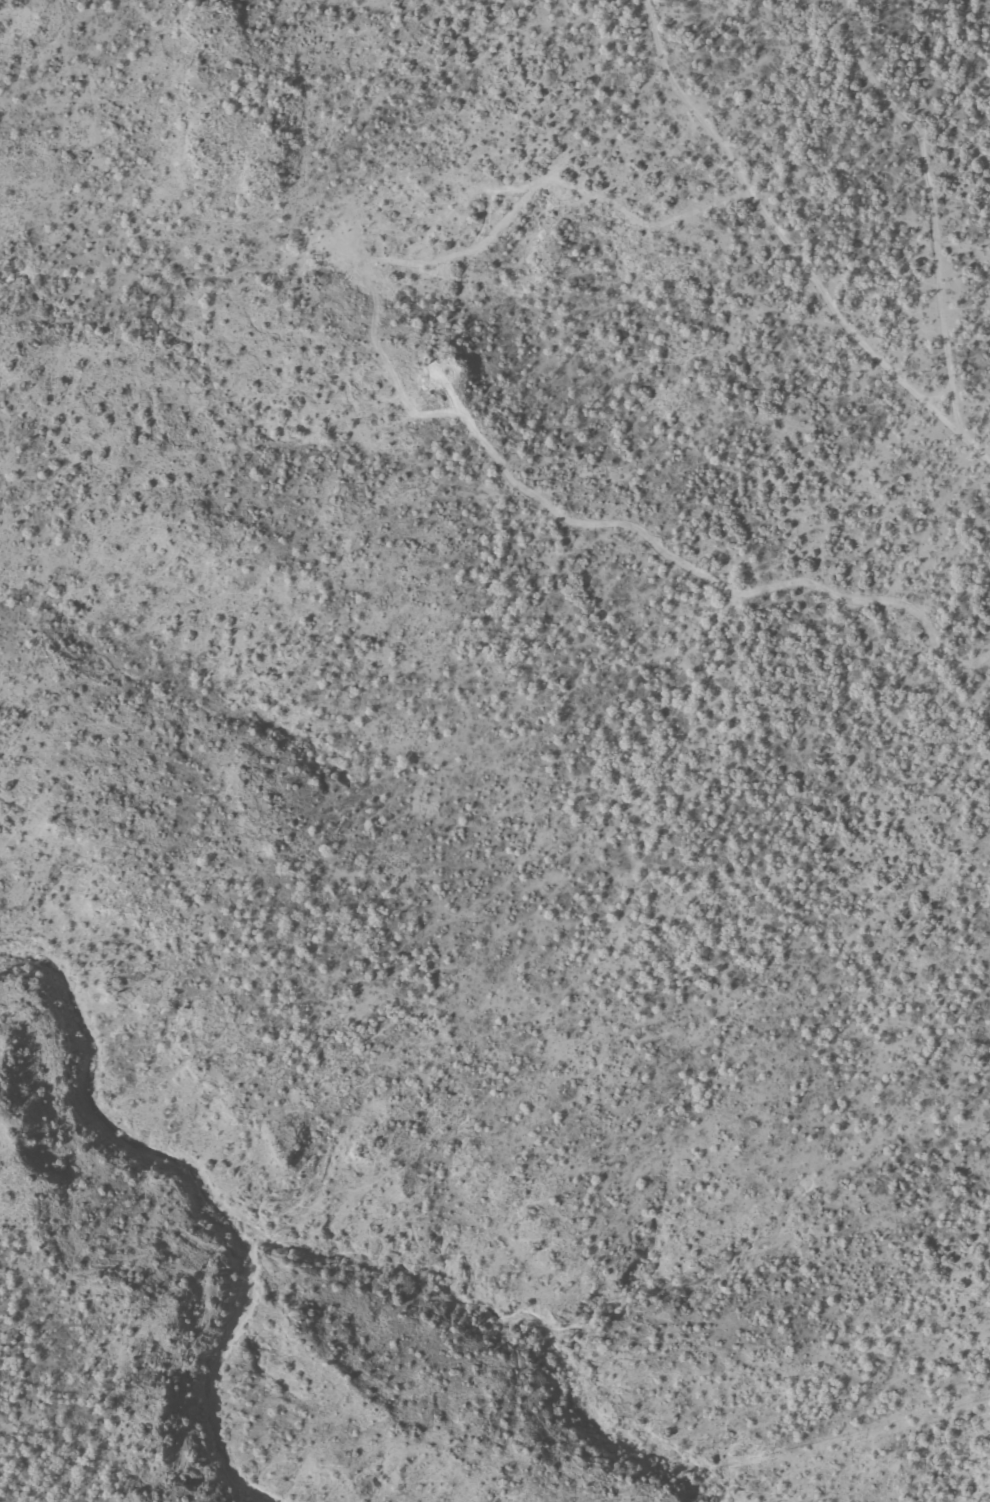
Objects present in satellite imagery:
road: (777, 264)

